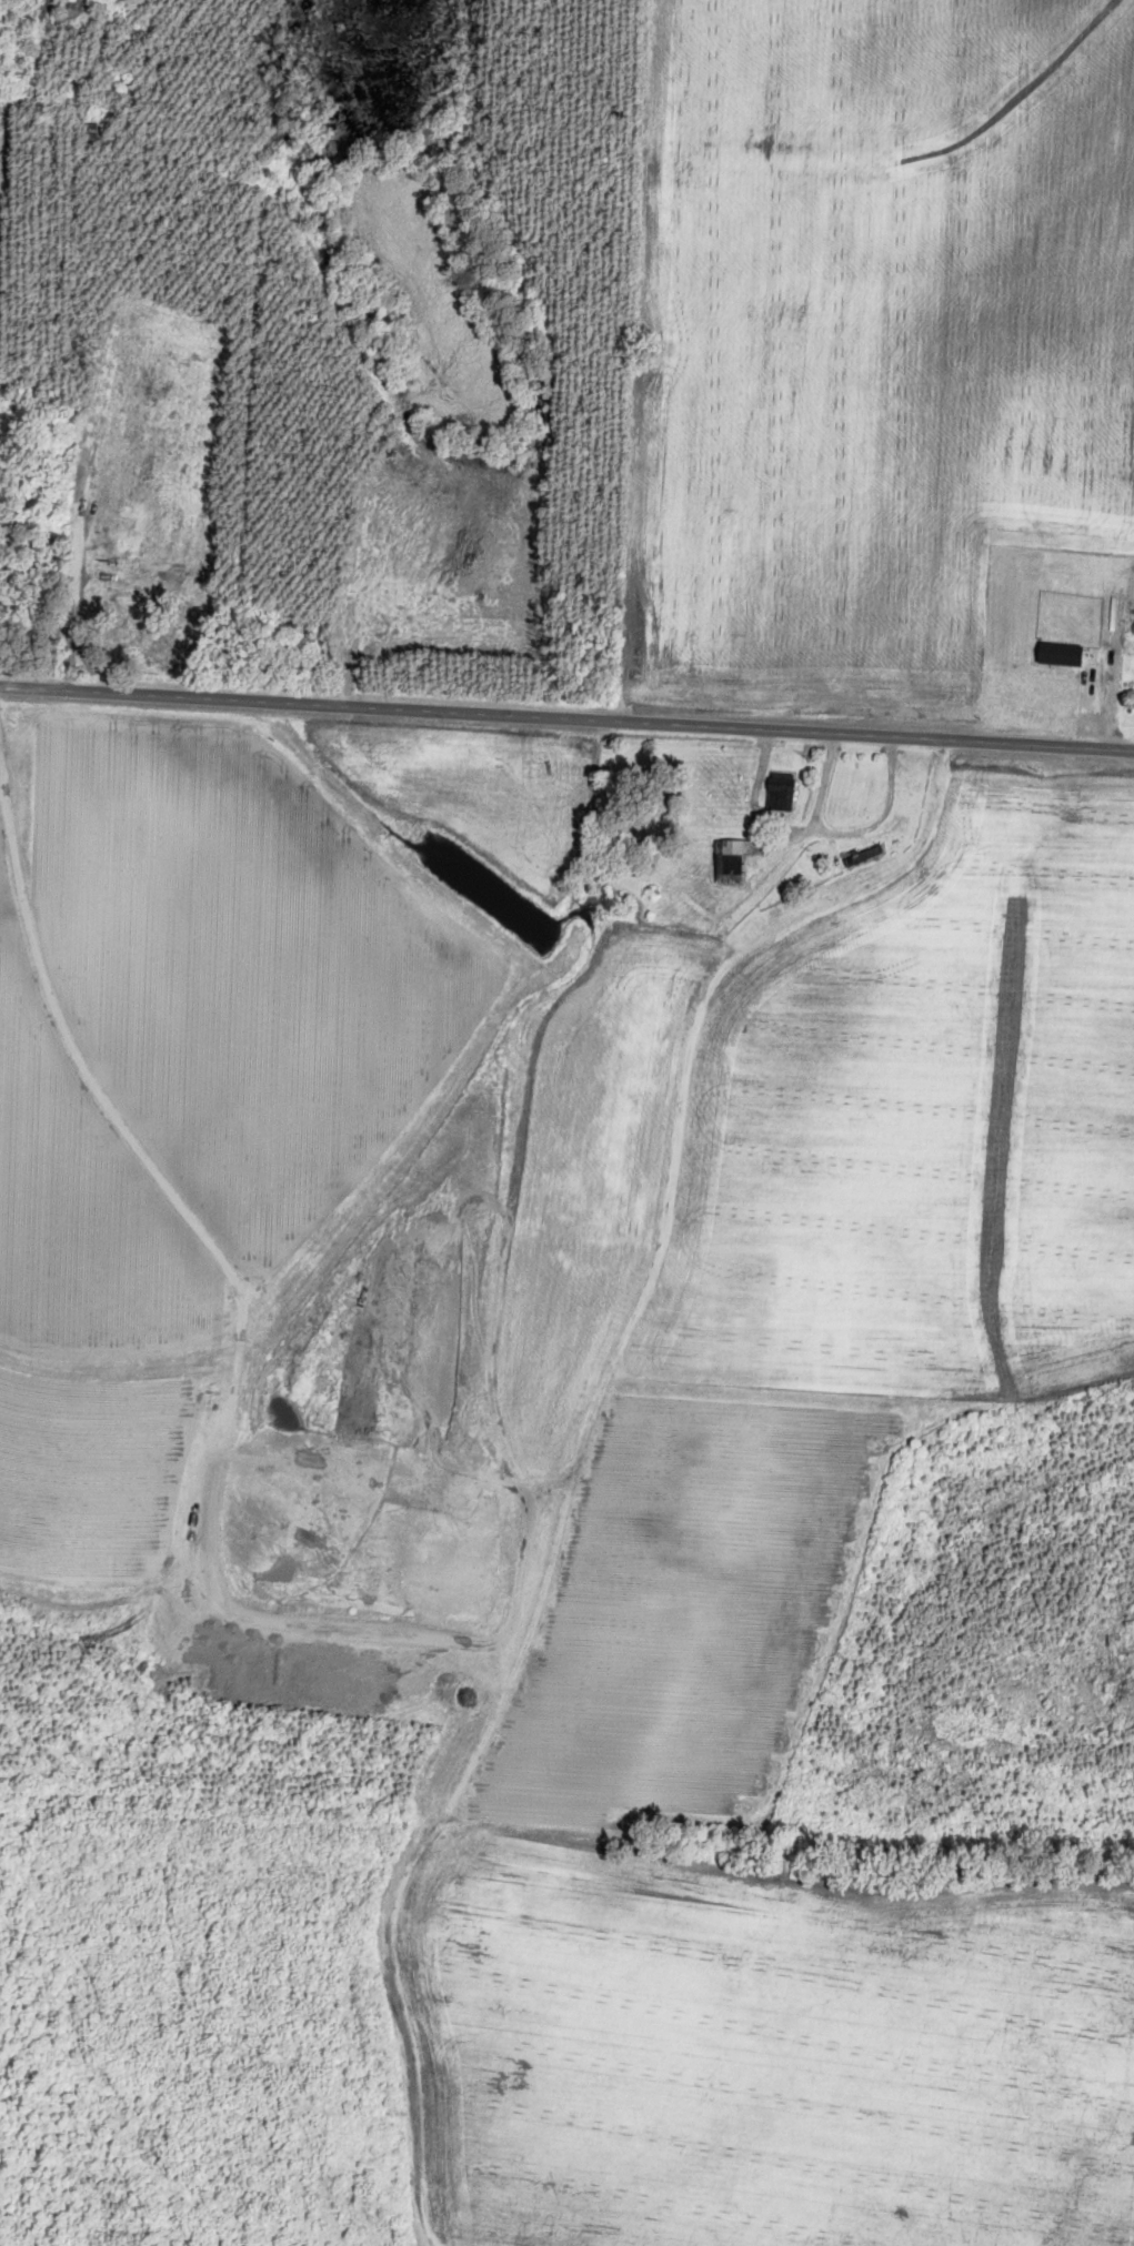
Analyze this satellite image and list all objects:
building: (78, 9)
road: (106, 373)
road: (566, 722)
road: (823, 785)
building: (781, 792)
road: (812, 830)

